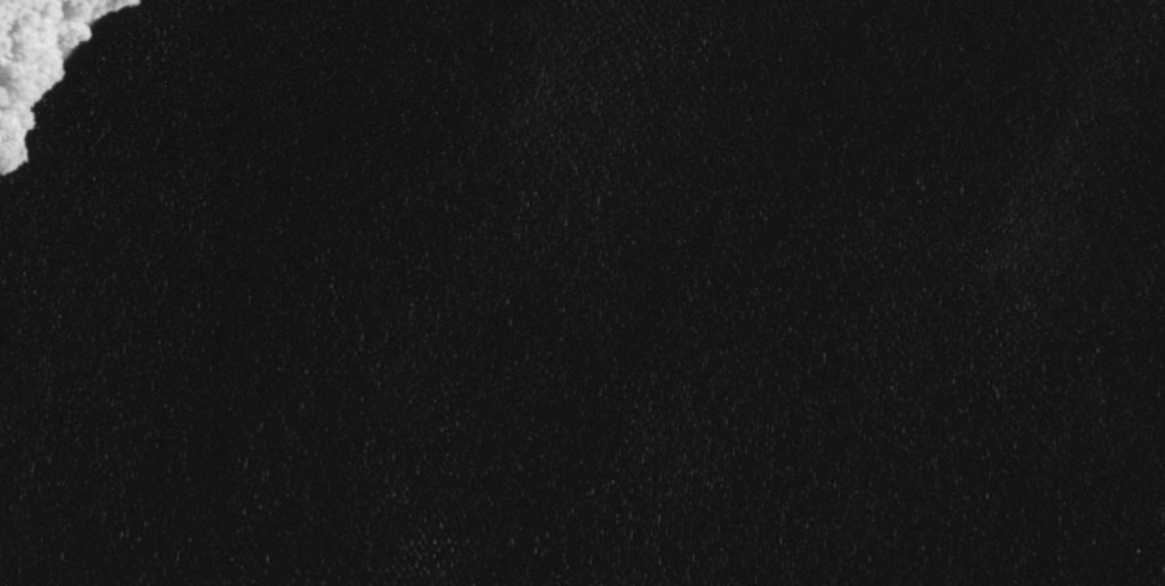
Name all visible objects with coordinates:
park: (51, 67)

